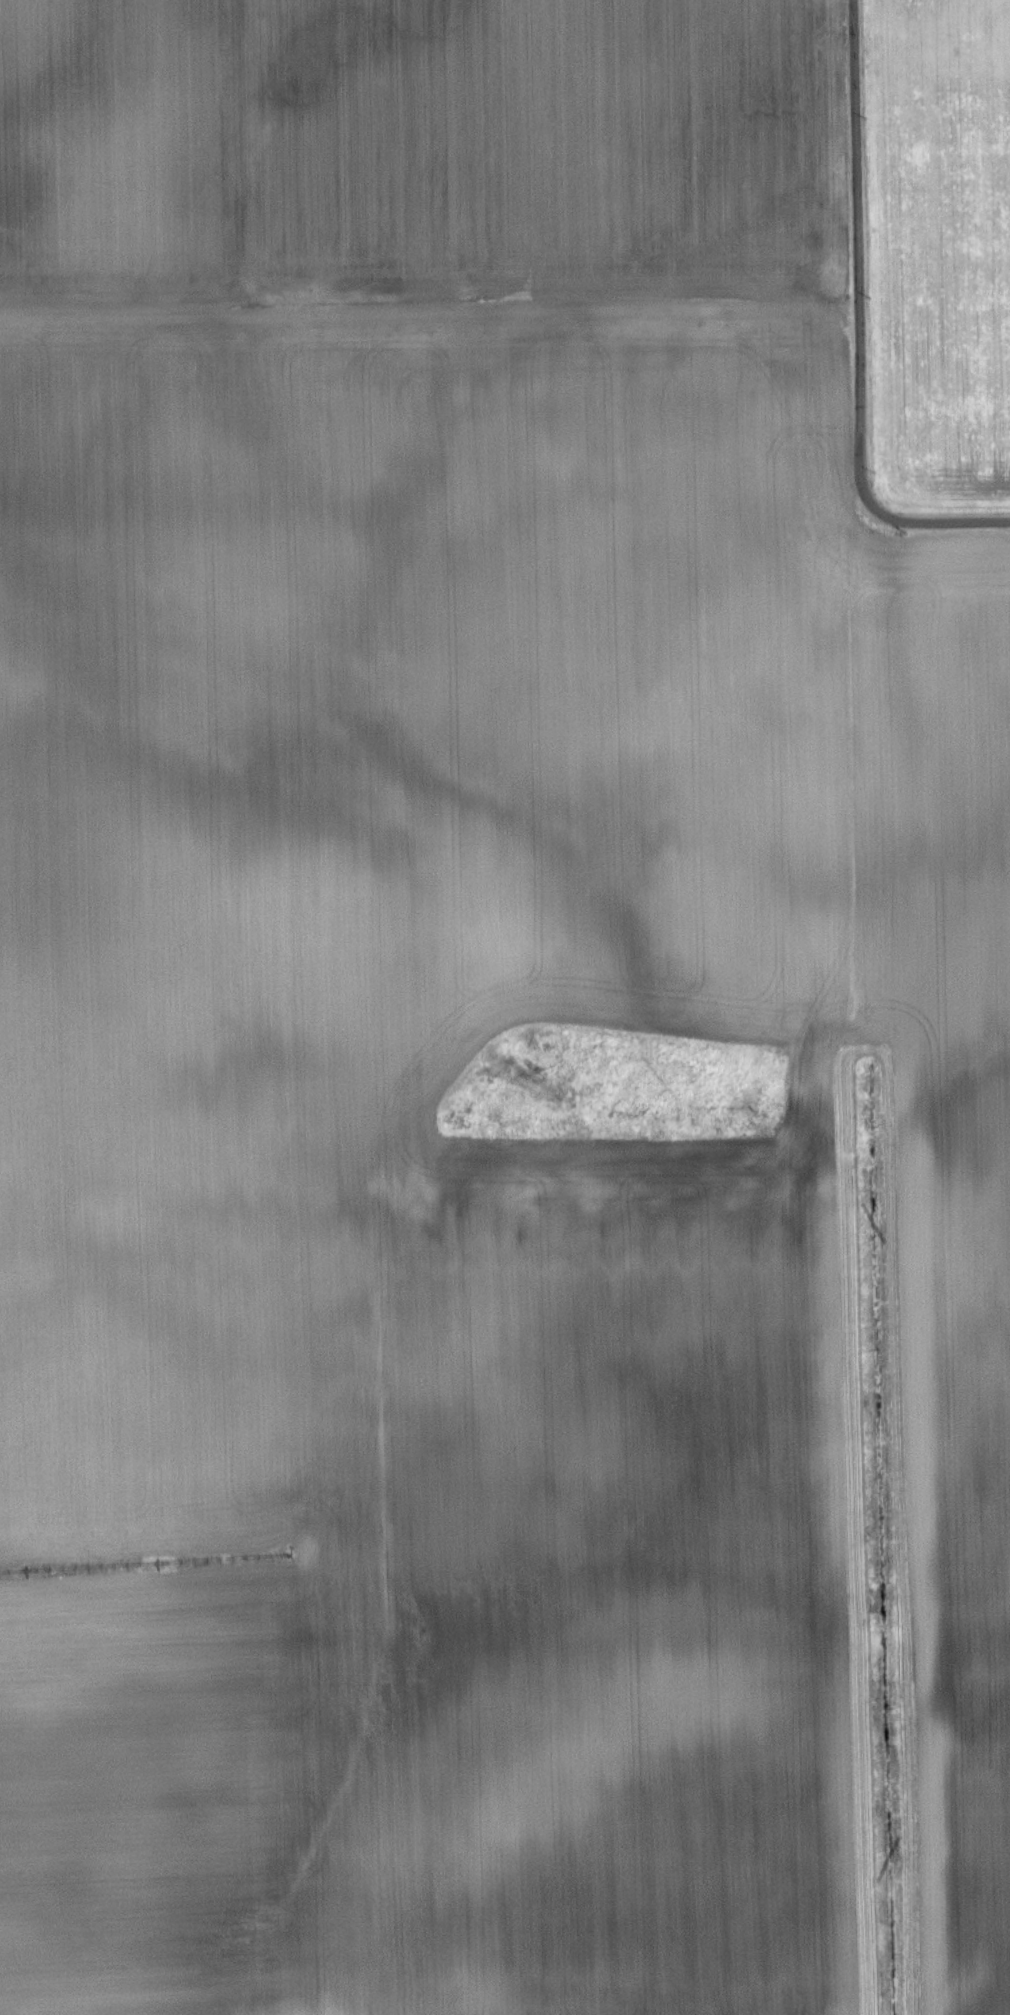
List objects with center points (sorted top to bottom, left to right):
road: (859, 323)

